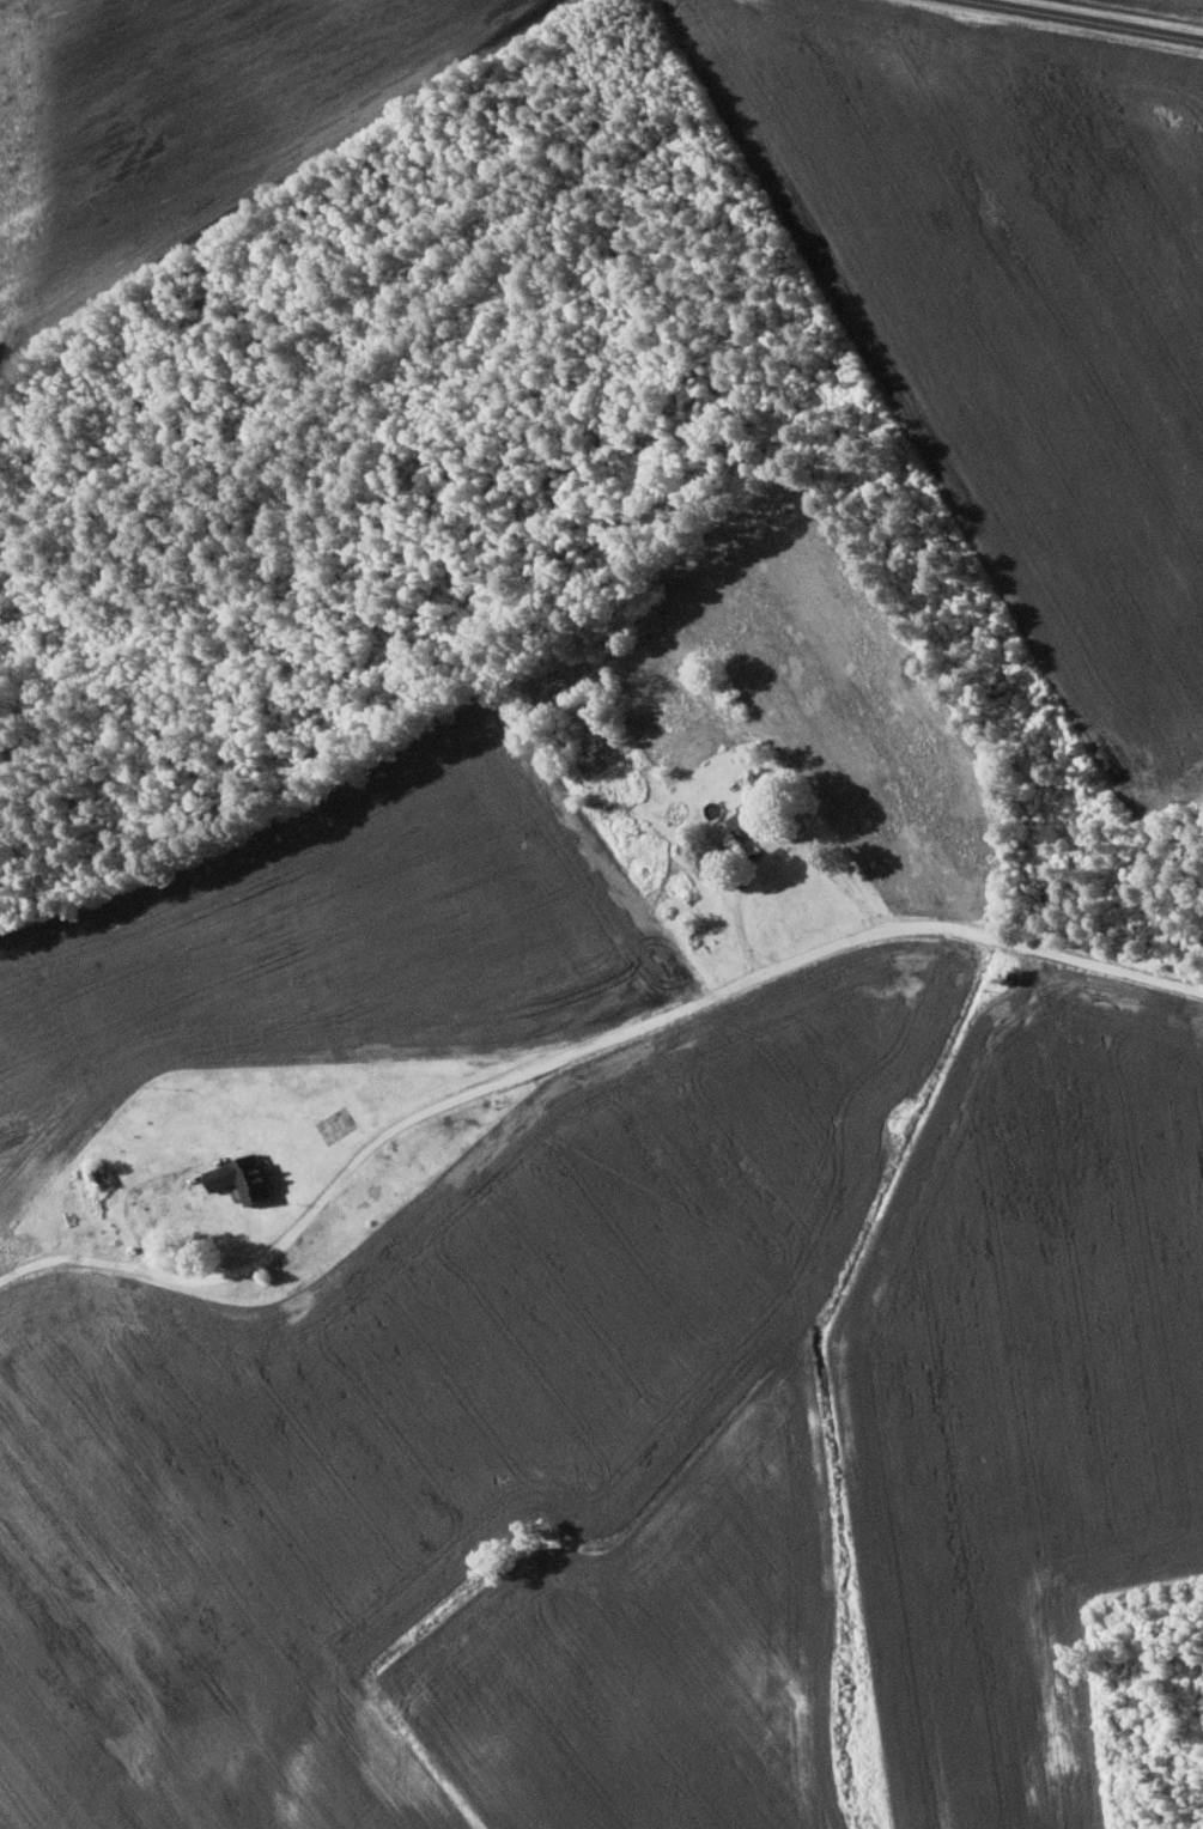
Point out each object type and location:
road: (1088, 19)
building: (746, 820)
road: (959, 936)
building: (243, 1177)

